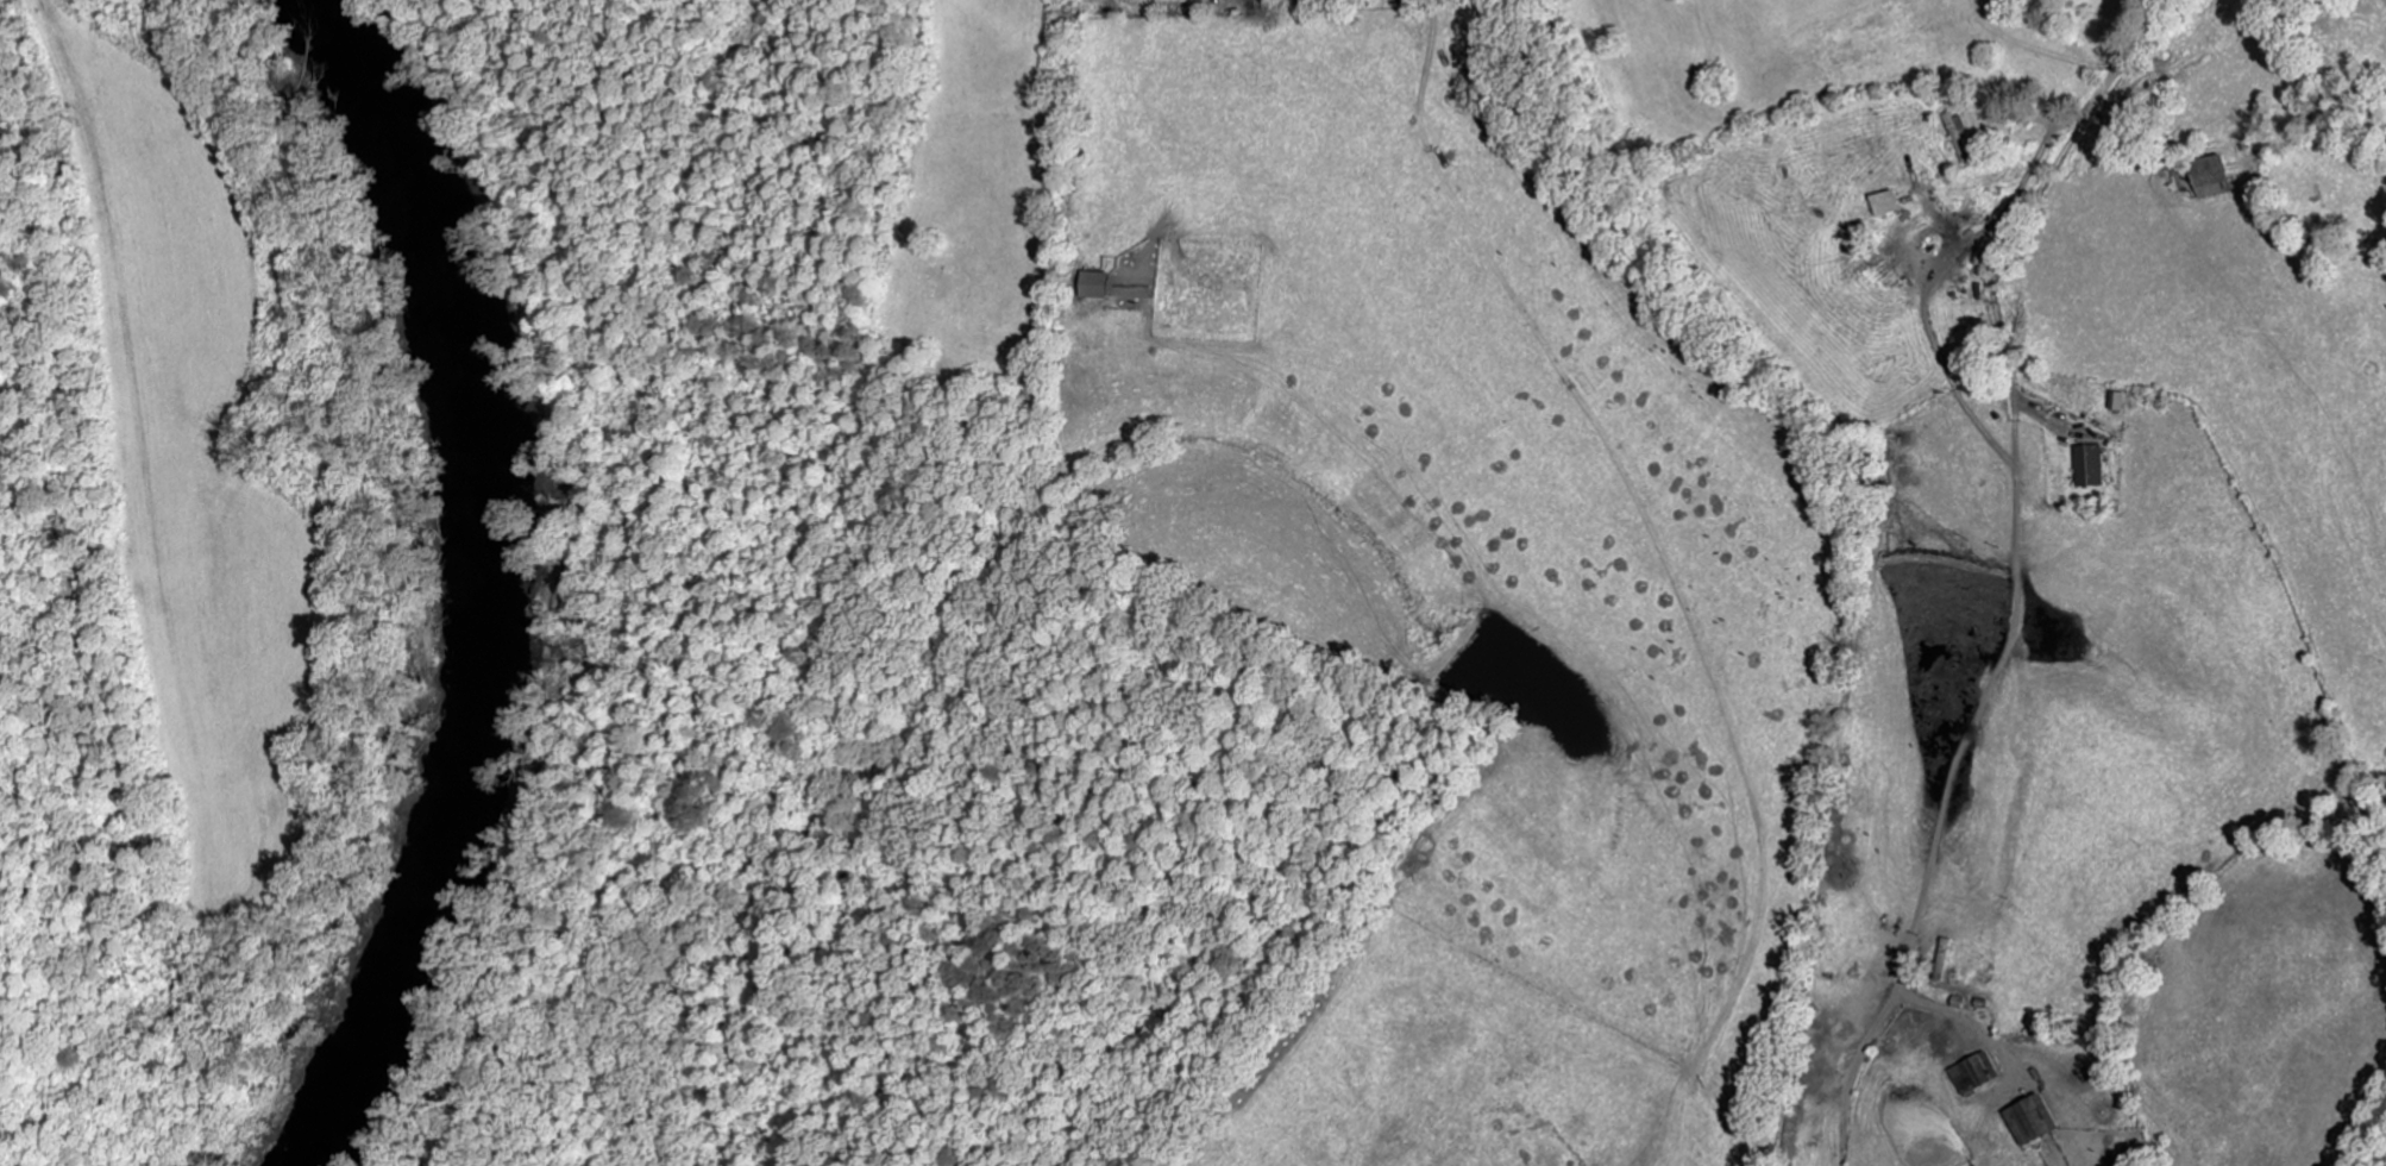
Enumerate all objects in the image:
road: (2123, 67)
building: (1961, 134)
building: (2218, 177)
building: (1891, 205)
building: (1101, 286)
building: (2093, 466)
river: (463, 578)
building: (1978, 1076)
building: (2037, 1122)

